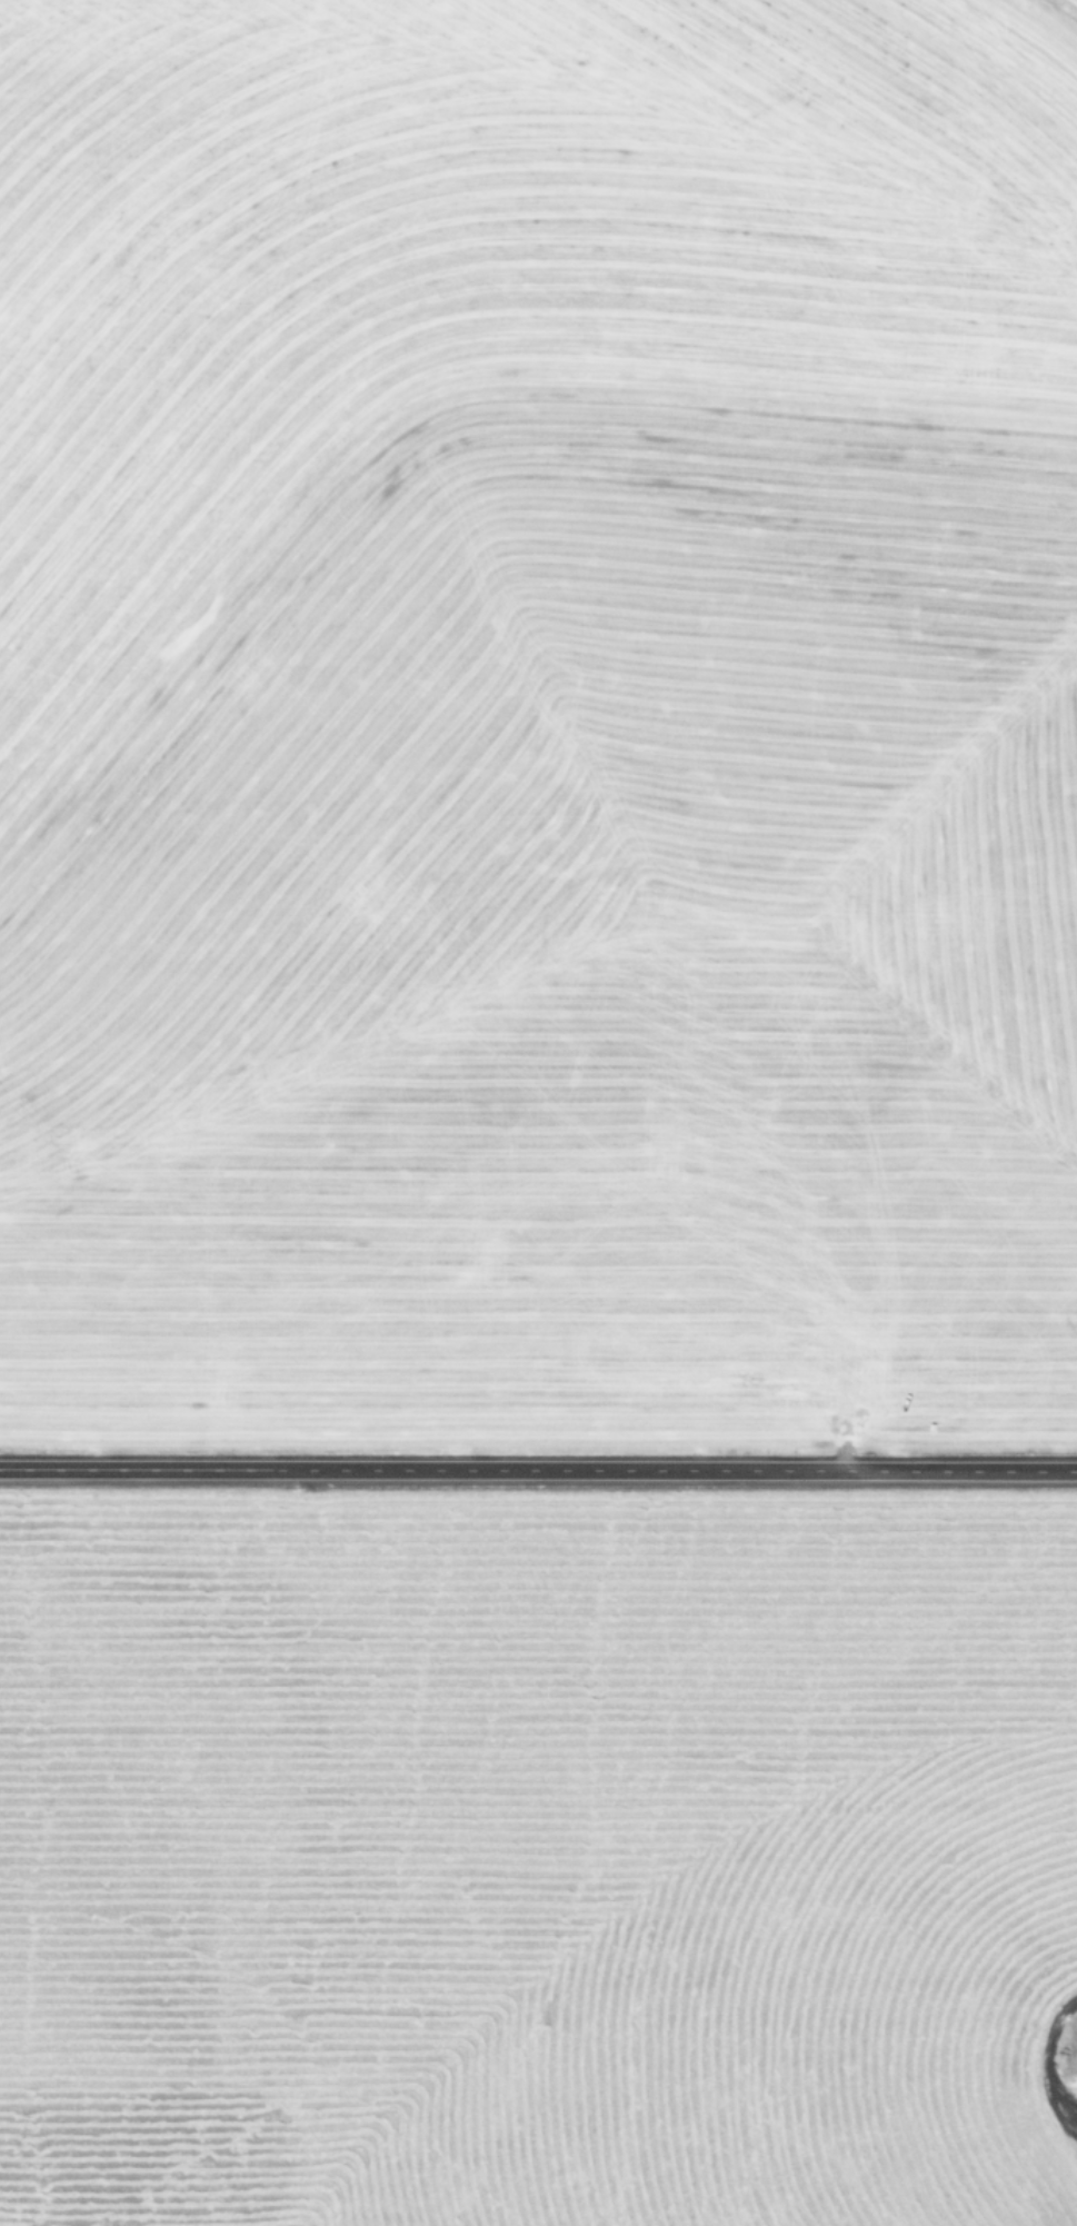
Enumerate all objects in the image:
crop: (538, 1113)
road: (538, 1471)
road: (1045, 2058)

